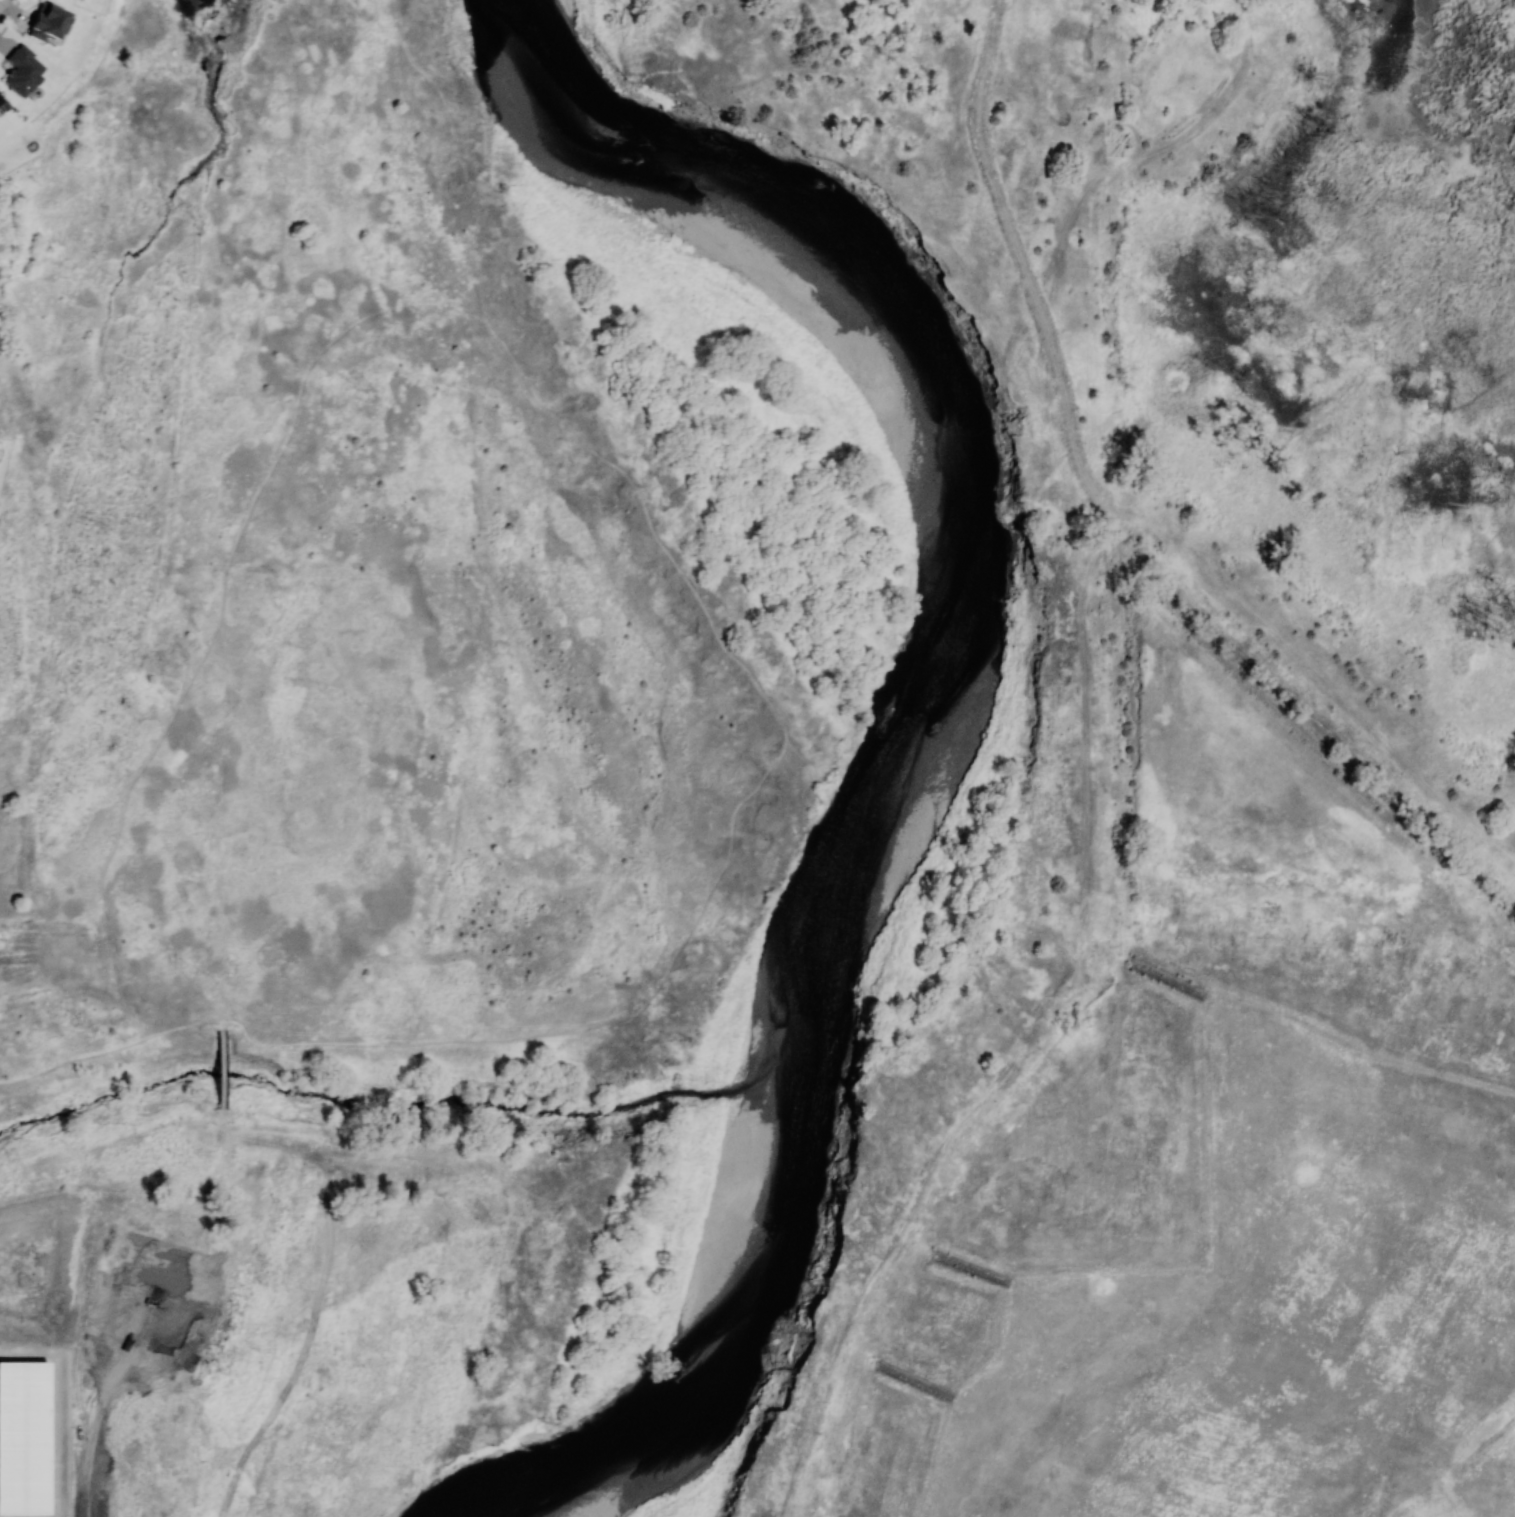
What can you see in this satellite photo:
road: (1, 1)
building: (46, 23)
building: (21, 70)
river: (949, 418)
landfill: (1214, 773)
road: (202, 971)
road: (209, 1010)
road: (223, 1023)
road: (143, 1040)
road: (279, 1046)
road: (38, 1053)
road: (223, 1069)
road: (41, 1071)
road: (222, 1127)
river: (745, 1334)
building: (24, 1438)

